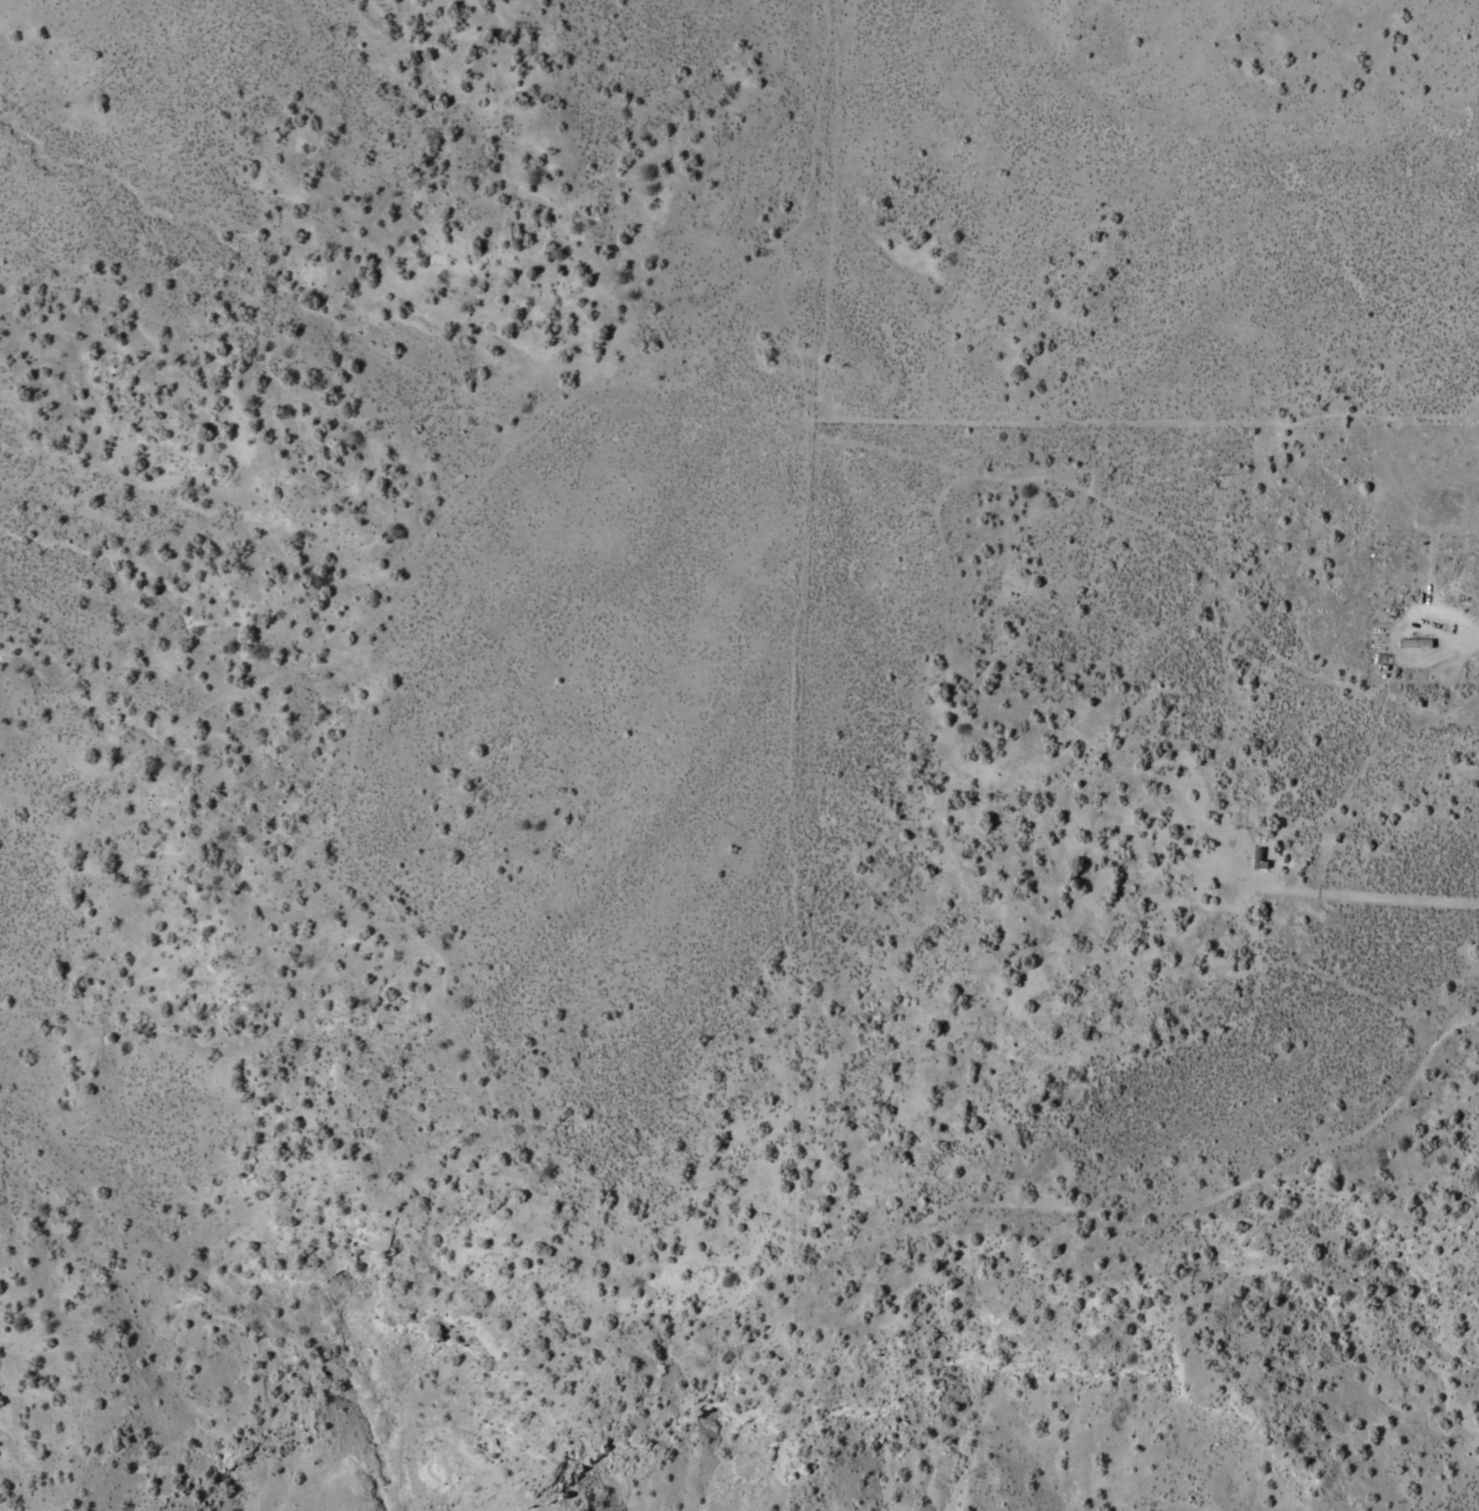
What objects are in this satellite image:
building: (1416, 642)

